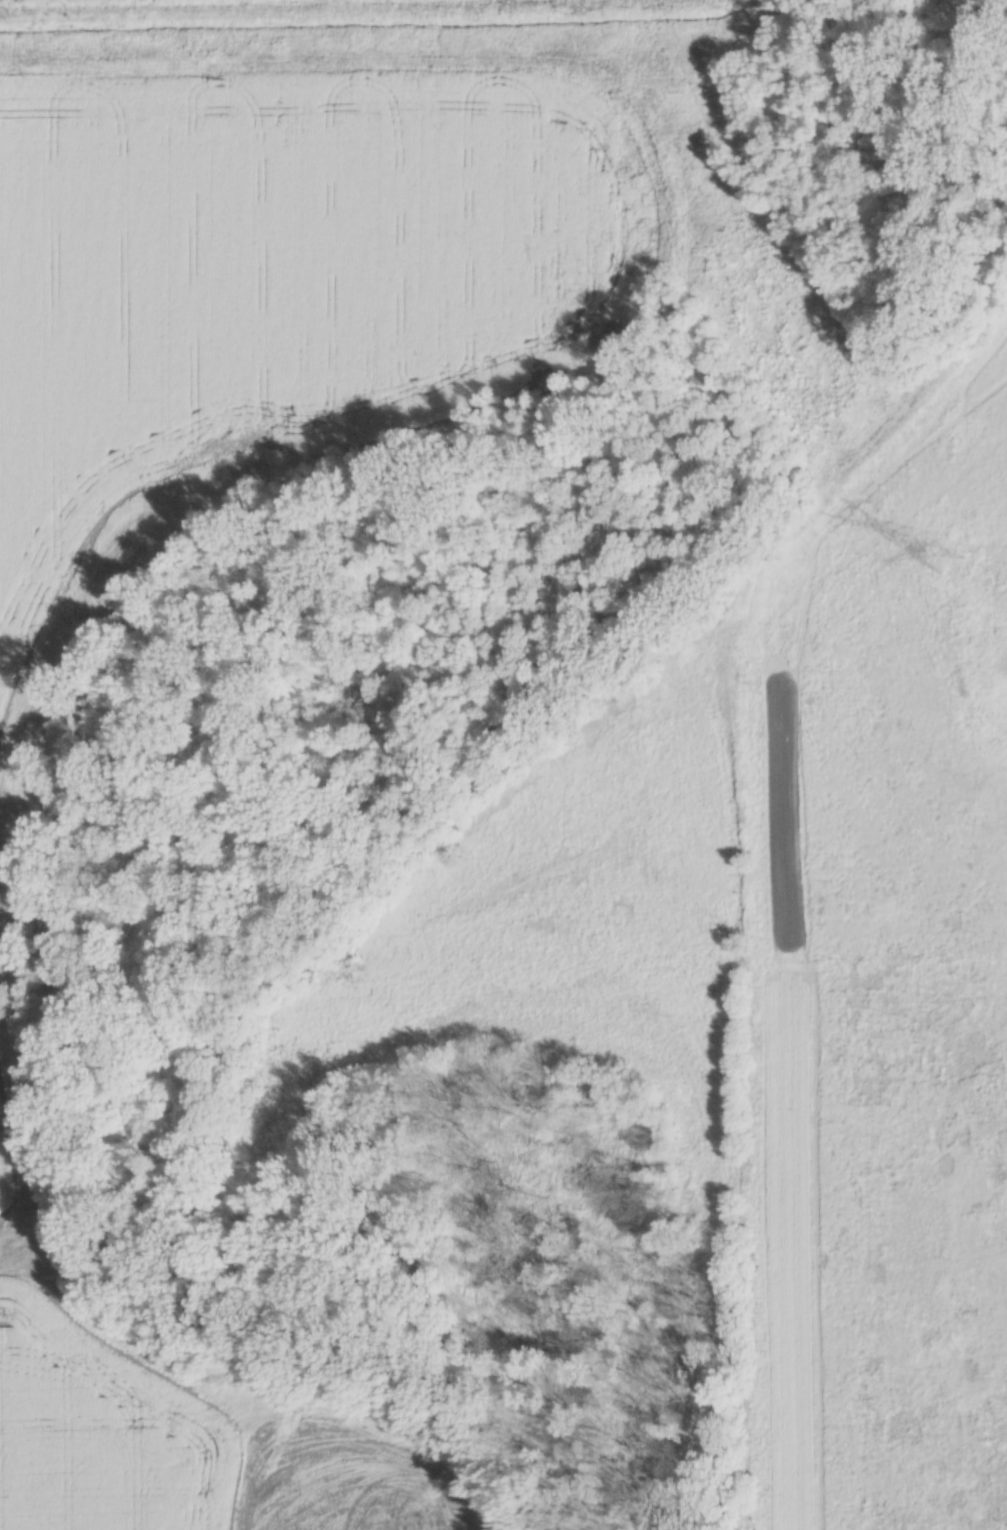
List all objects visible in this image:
power tower: (944, 551)

